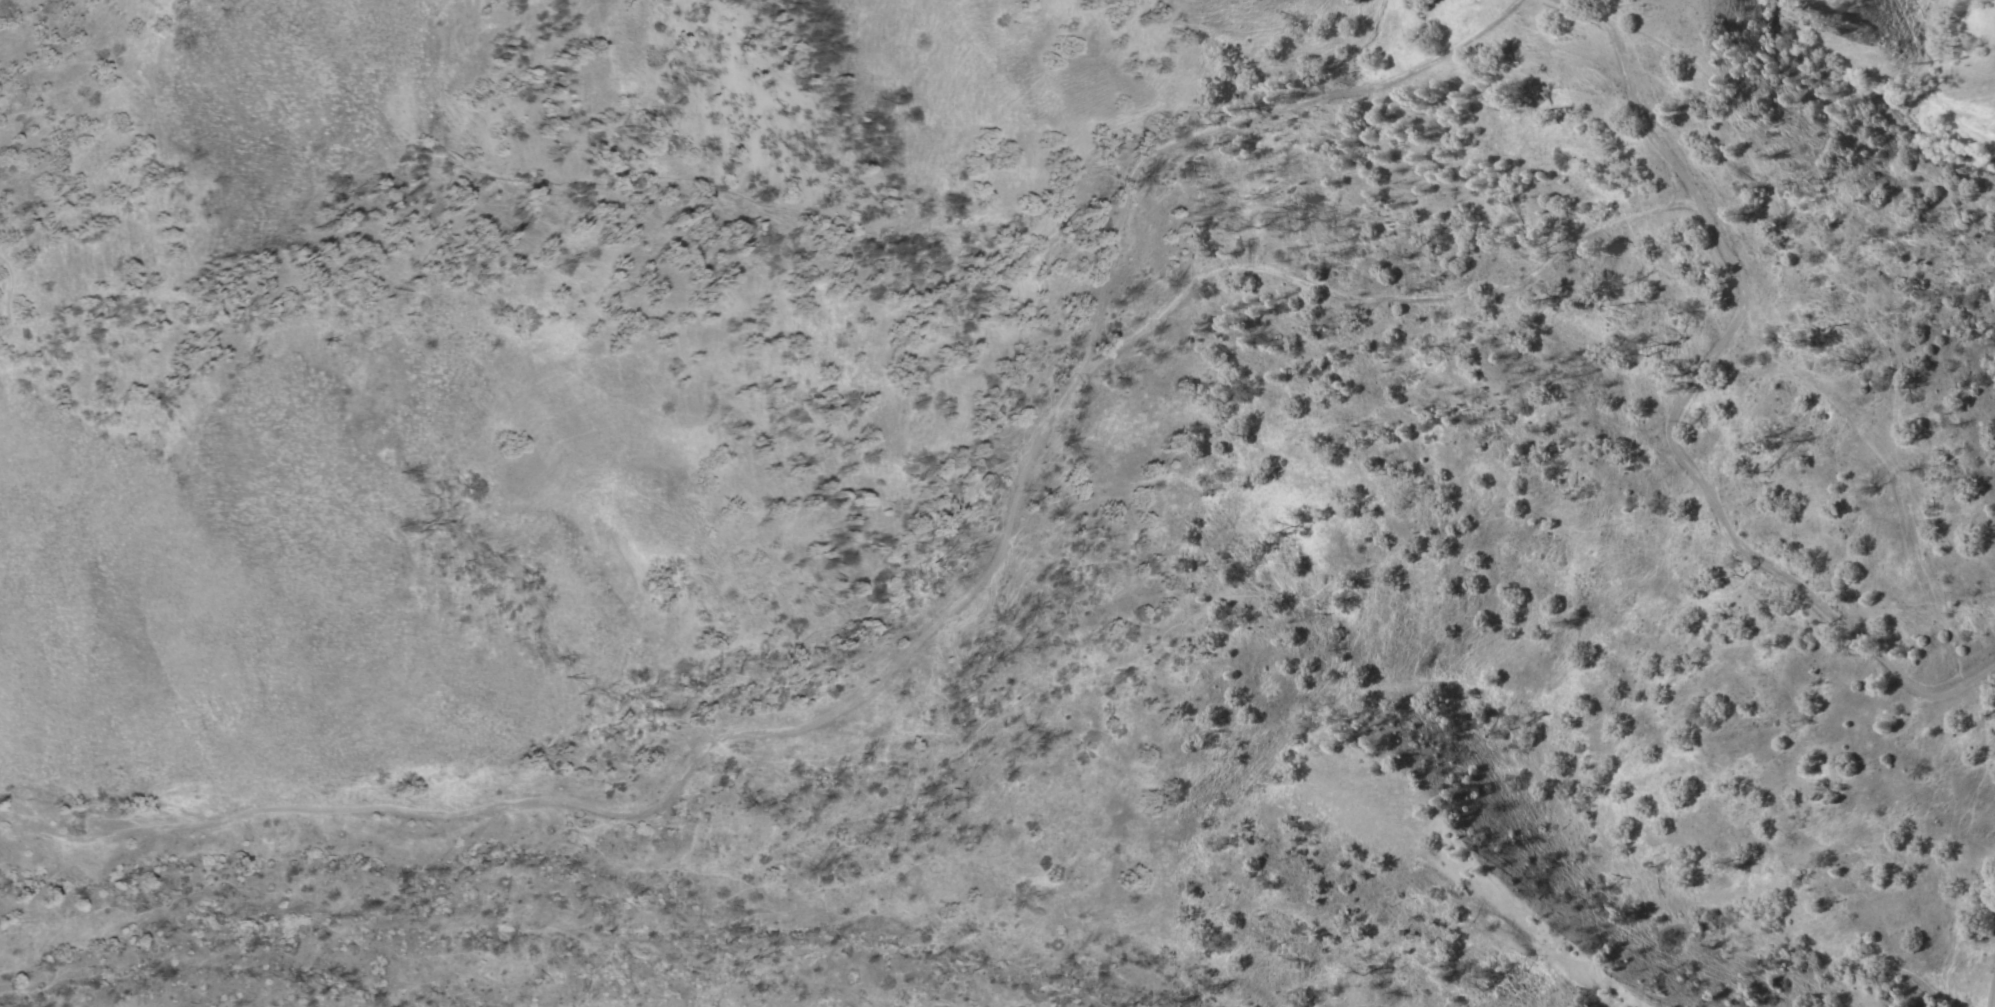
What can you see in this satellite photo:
road: (1955, 98)
road: (1682, 400)
road: (1983, 668)
road: (1994, 1002)

